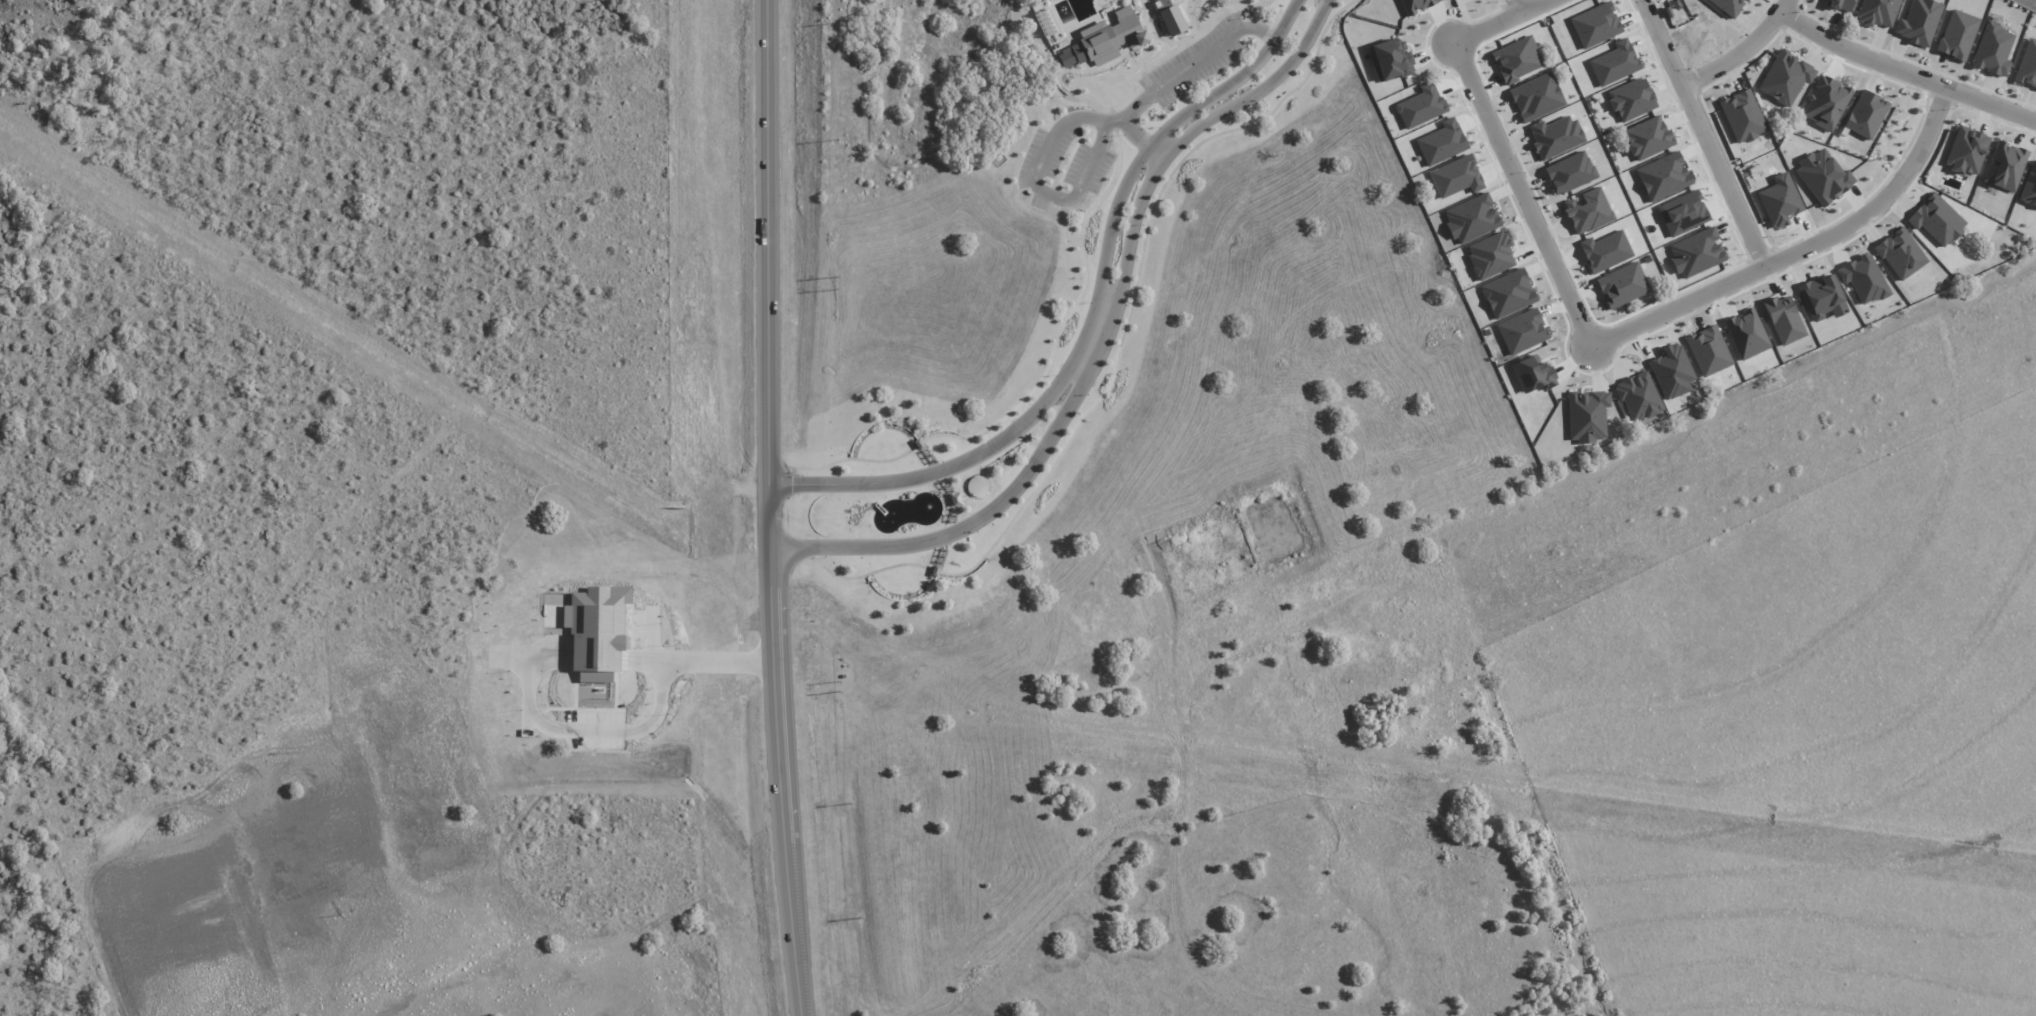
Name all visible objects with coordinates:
road: (1523, 3)
building: (1842, 4)
building: (1416, 5)
building: (1729, 6)
park: (1205, 8)
building: (1877, 12)
building: (1178, 15)
road: (1494, 19)
building: (1919, 22)
building: (1106, 35)
building: (1958, 35)
building: (1993, 50)
road: (1743, 51)
building: (1391, 59)
building: (1517, 59)
building: (2027, 65)
road: (1905, 72)
road: (1173, 73)
building: (1785, 77)
building: (1537, 97)
building: (1631, 99)
building: (1826, 103)
building: (1866, 114)
building: (1743, 116)
road: (1704, 132)
building: (1555, 136)
building: (1647, 138)
building: (1967, 151)
building: (2005, 166)
building: (1570, 172)
road: (1037, 175)
building: (1456, 177)
building: (1823, 177)
building: (2029, 187)
road: (1518, 191)
building: (1780, 200)
building: (1588, 211)
building: (1683, 211)
building: (1472, 218)
building: (1937, 220)
road: (1795, 249)
building: (1696, 251)
building: (1901, 254)
building: (1864, 279)
building: (1623, 285)
building: (1508, 293)
building: (1822, 298)
road: (1090, 314)
building: (1784, 320)
building: (1746, 334)
road: (1101, 340)
building: (1708, 351)
building: (1672, 371)
building: (1638, 397)
building: (1587, 415)
road: (1929, 450)
building: (976, 486)
road: (773, 508)
road: (1760, 544)
road: (1868, 615)
building: (601, 632)
road: (702, 661)
road: (574, 730)

